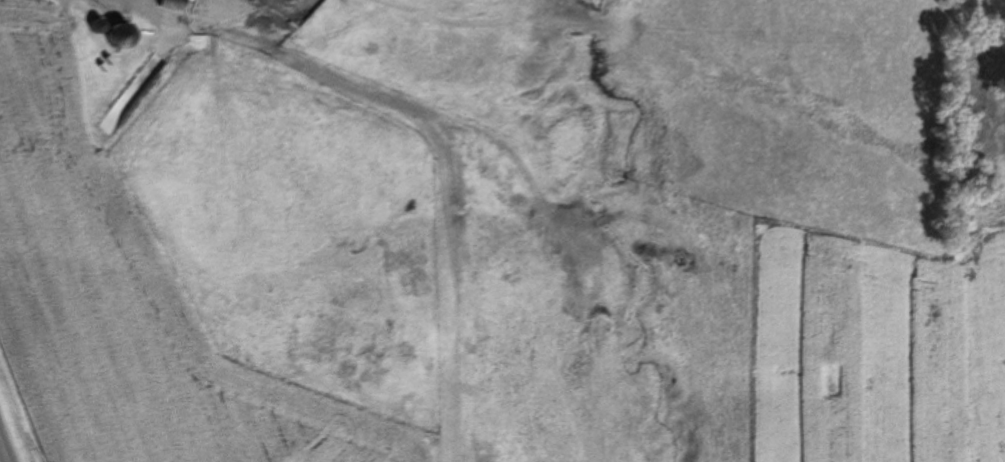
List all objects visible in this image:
building: (297, 0)
building: (176, 4)
road: (3, 453)

